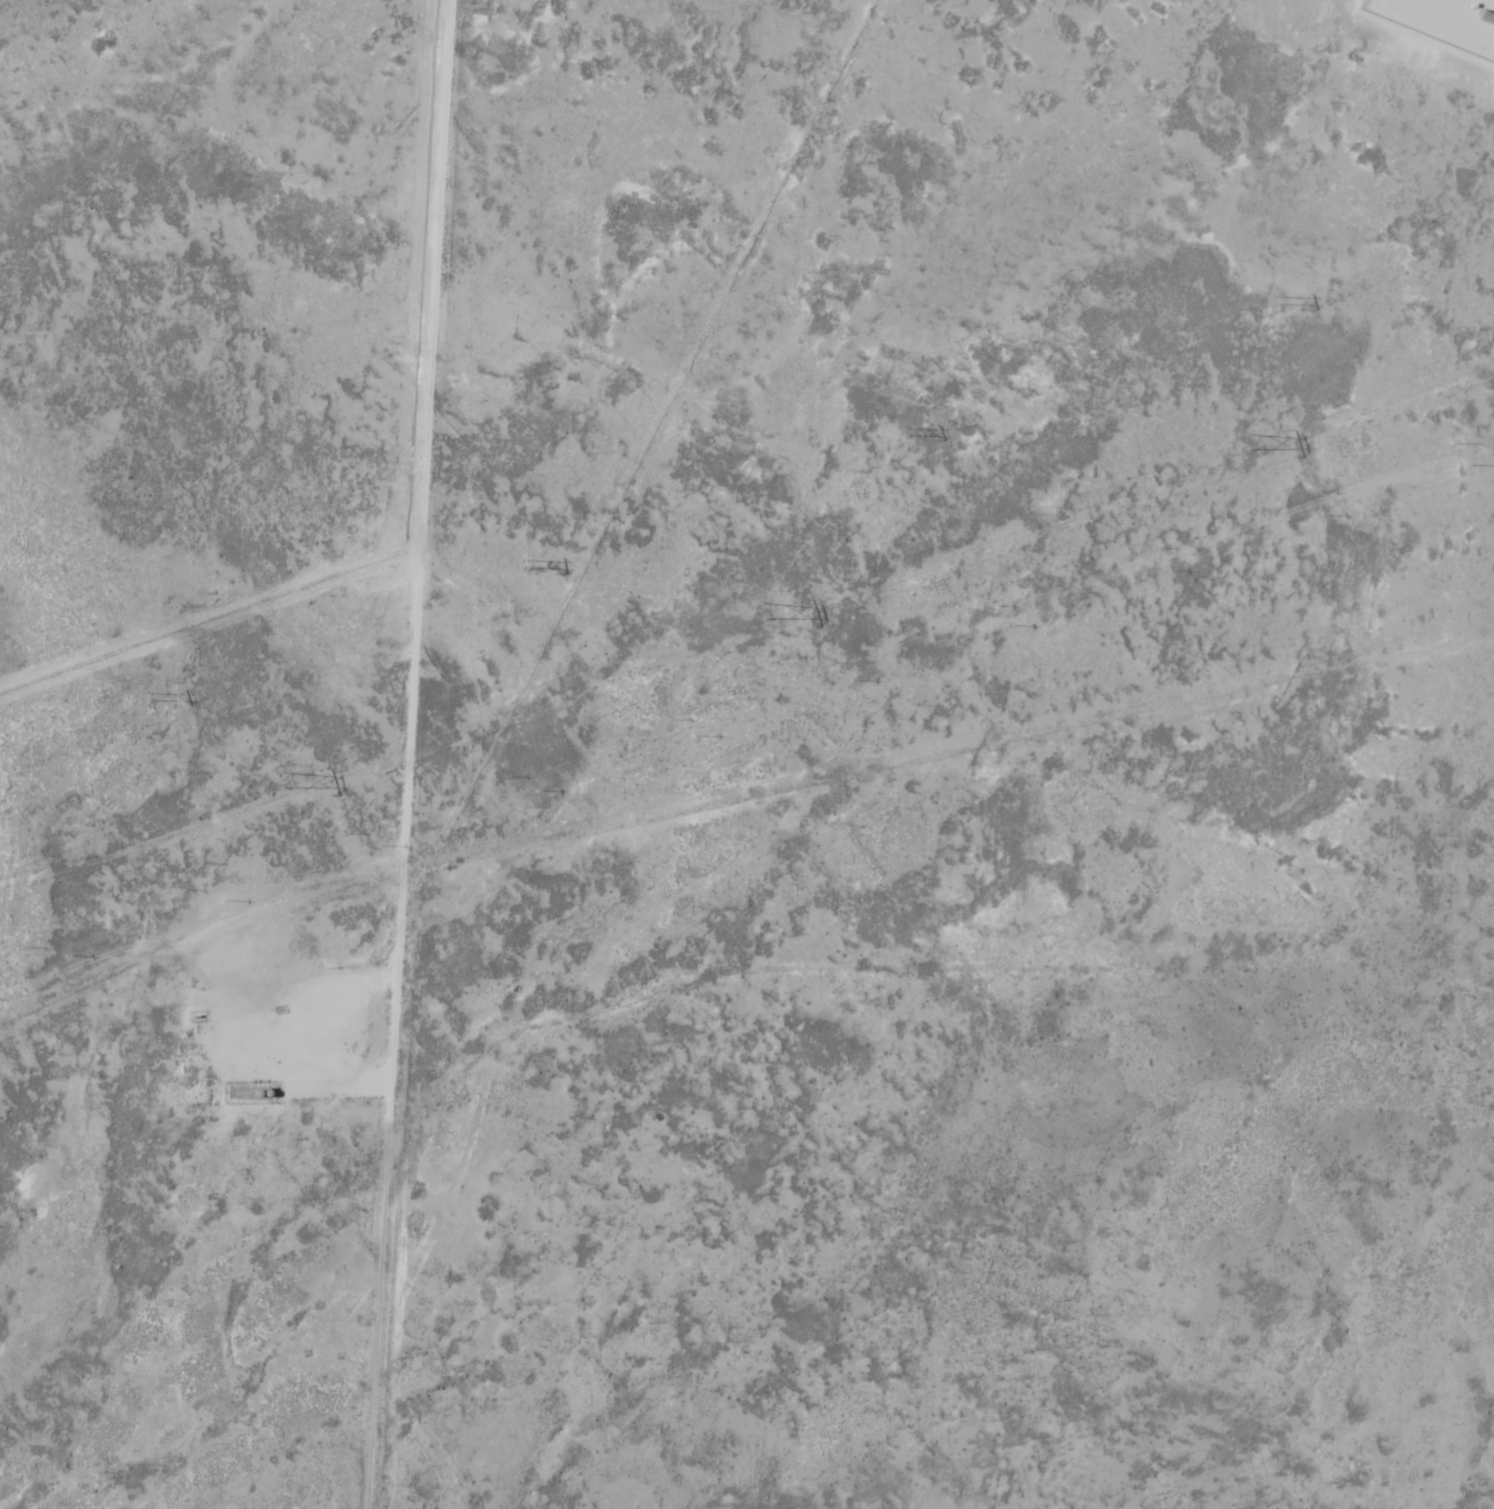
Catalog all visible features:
power tower: (1277, 301)
power tower: (904, 432)
power tower: (1244, 441)
power tower: (527, 564)
power tower: (764, 610)
power tower: (150, 696)
road: (409, 754)
power tower: (287, 779)

